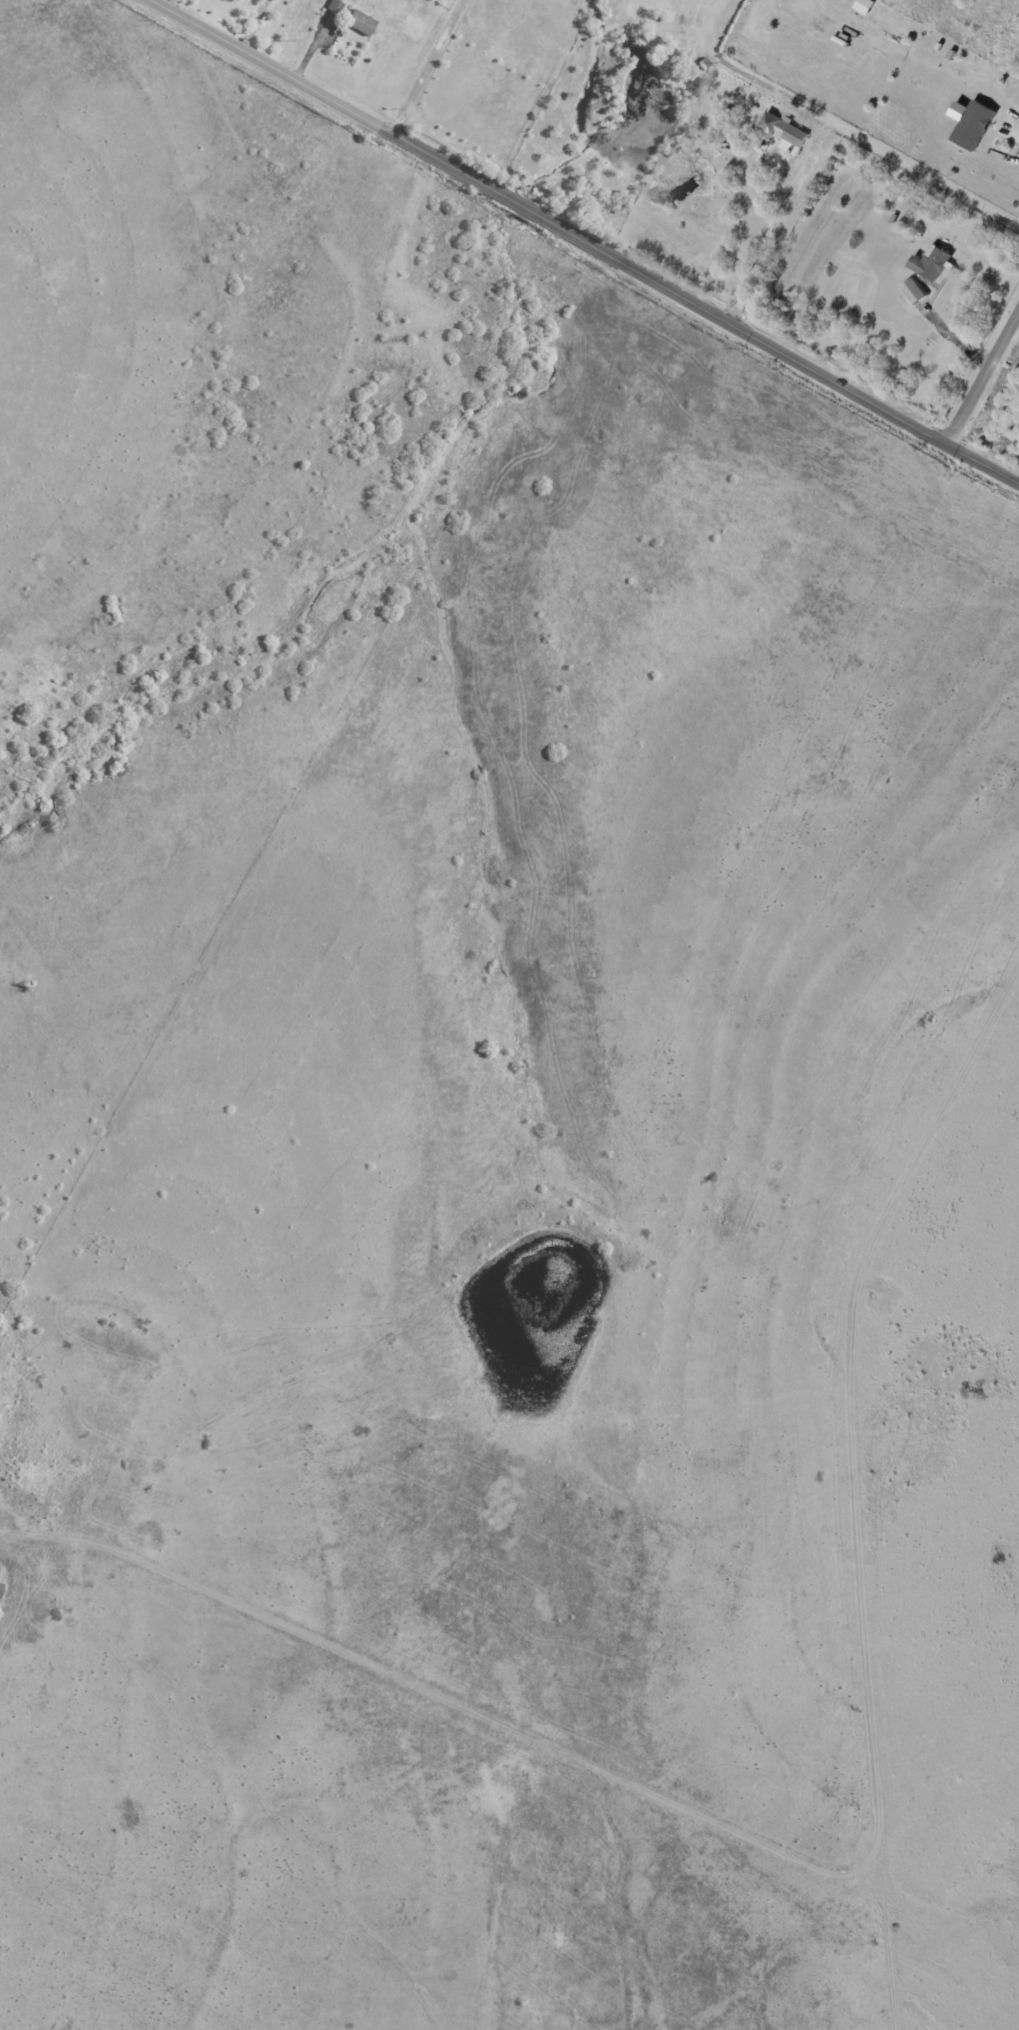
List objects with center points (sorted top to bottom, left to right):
road: (168, 5)
building: (335, 7)
building: (359, 22)
road: (253, 25)
building: (705, 63)
road: (429, 67)
building: (971, 122)
road: (838, 128)
building: (783, 129)
road: (989, 133)
building: (894, 219)
road: (583, 242)
road: (764, 242)
building: (931, 263)
building: (915, 290)
road: (982, 375)
building: (0, 1569)
building: (1, 1590)
road: (871, 1853)

